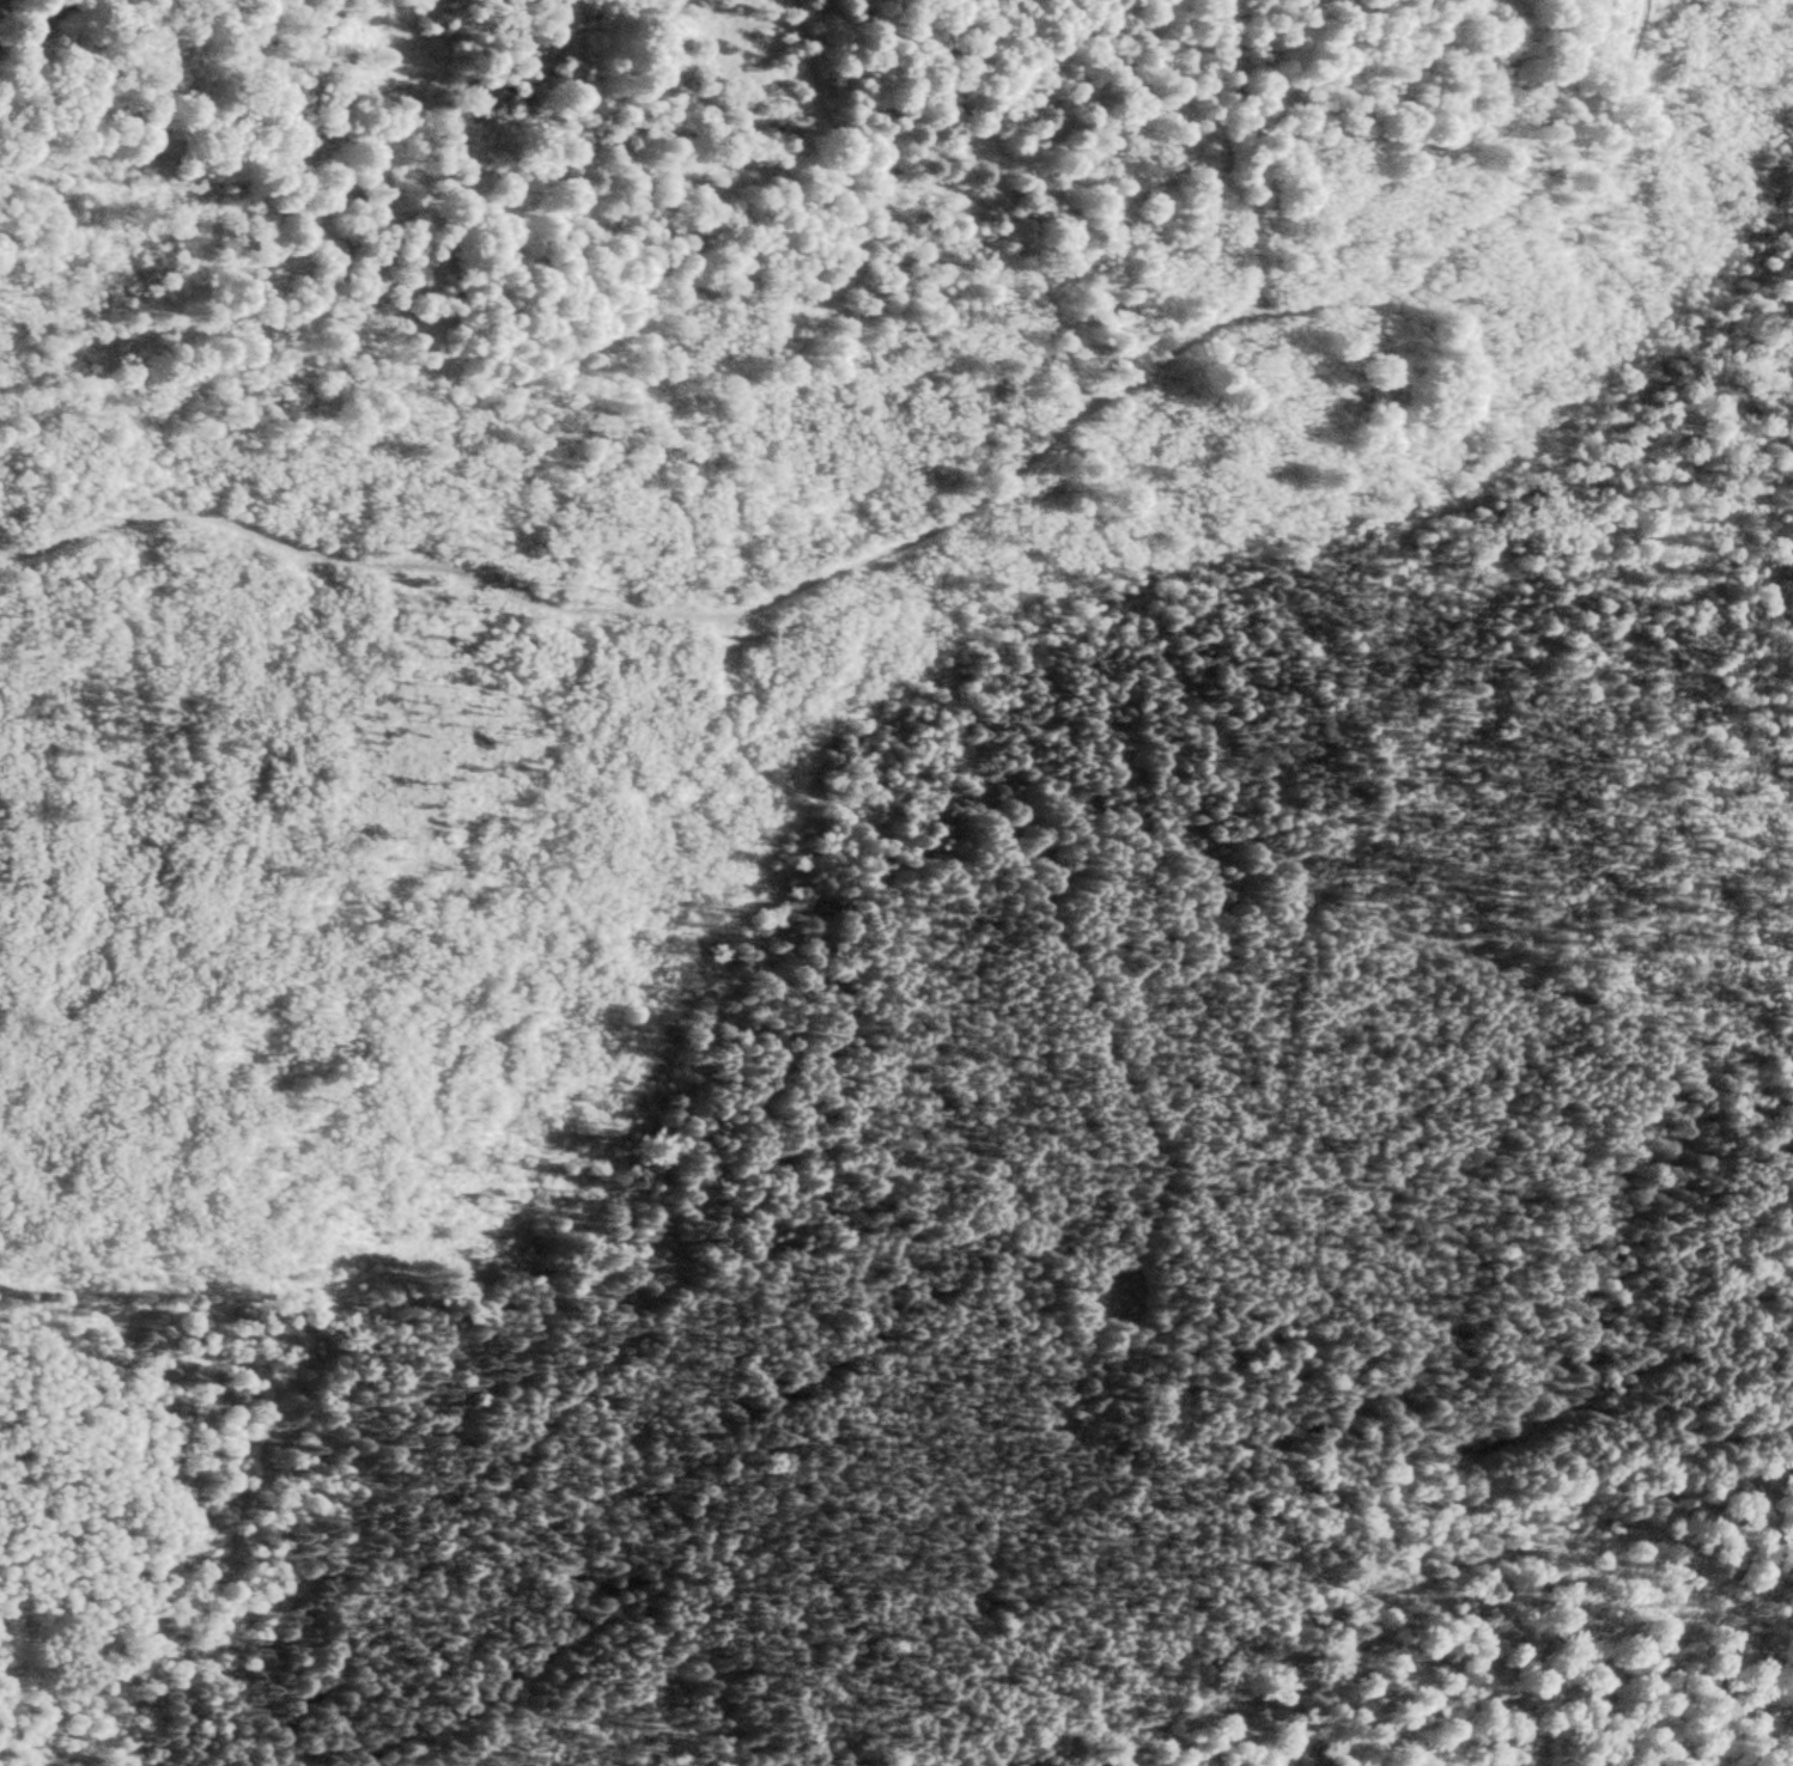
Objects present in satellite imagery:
road: (322, 51)

